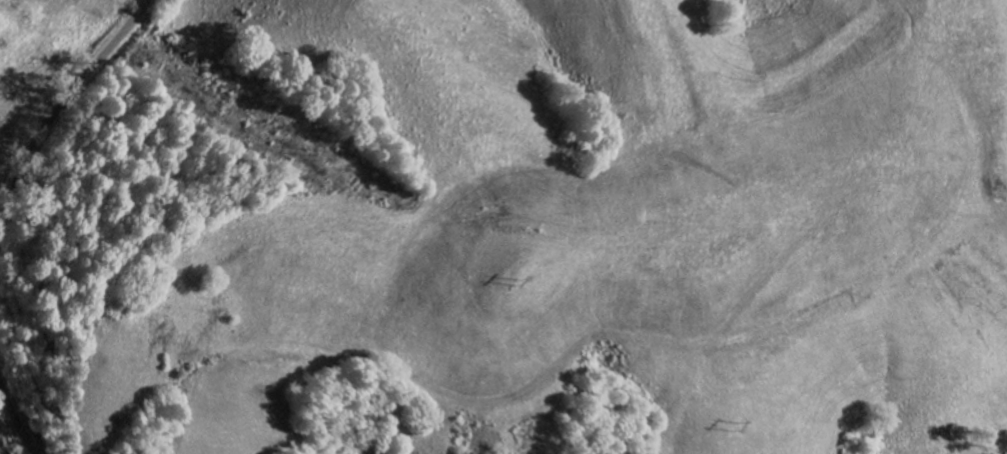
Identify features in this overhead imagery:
road: (60, 107)
road: (17, 415)
power tower: (741, 427)

